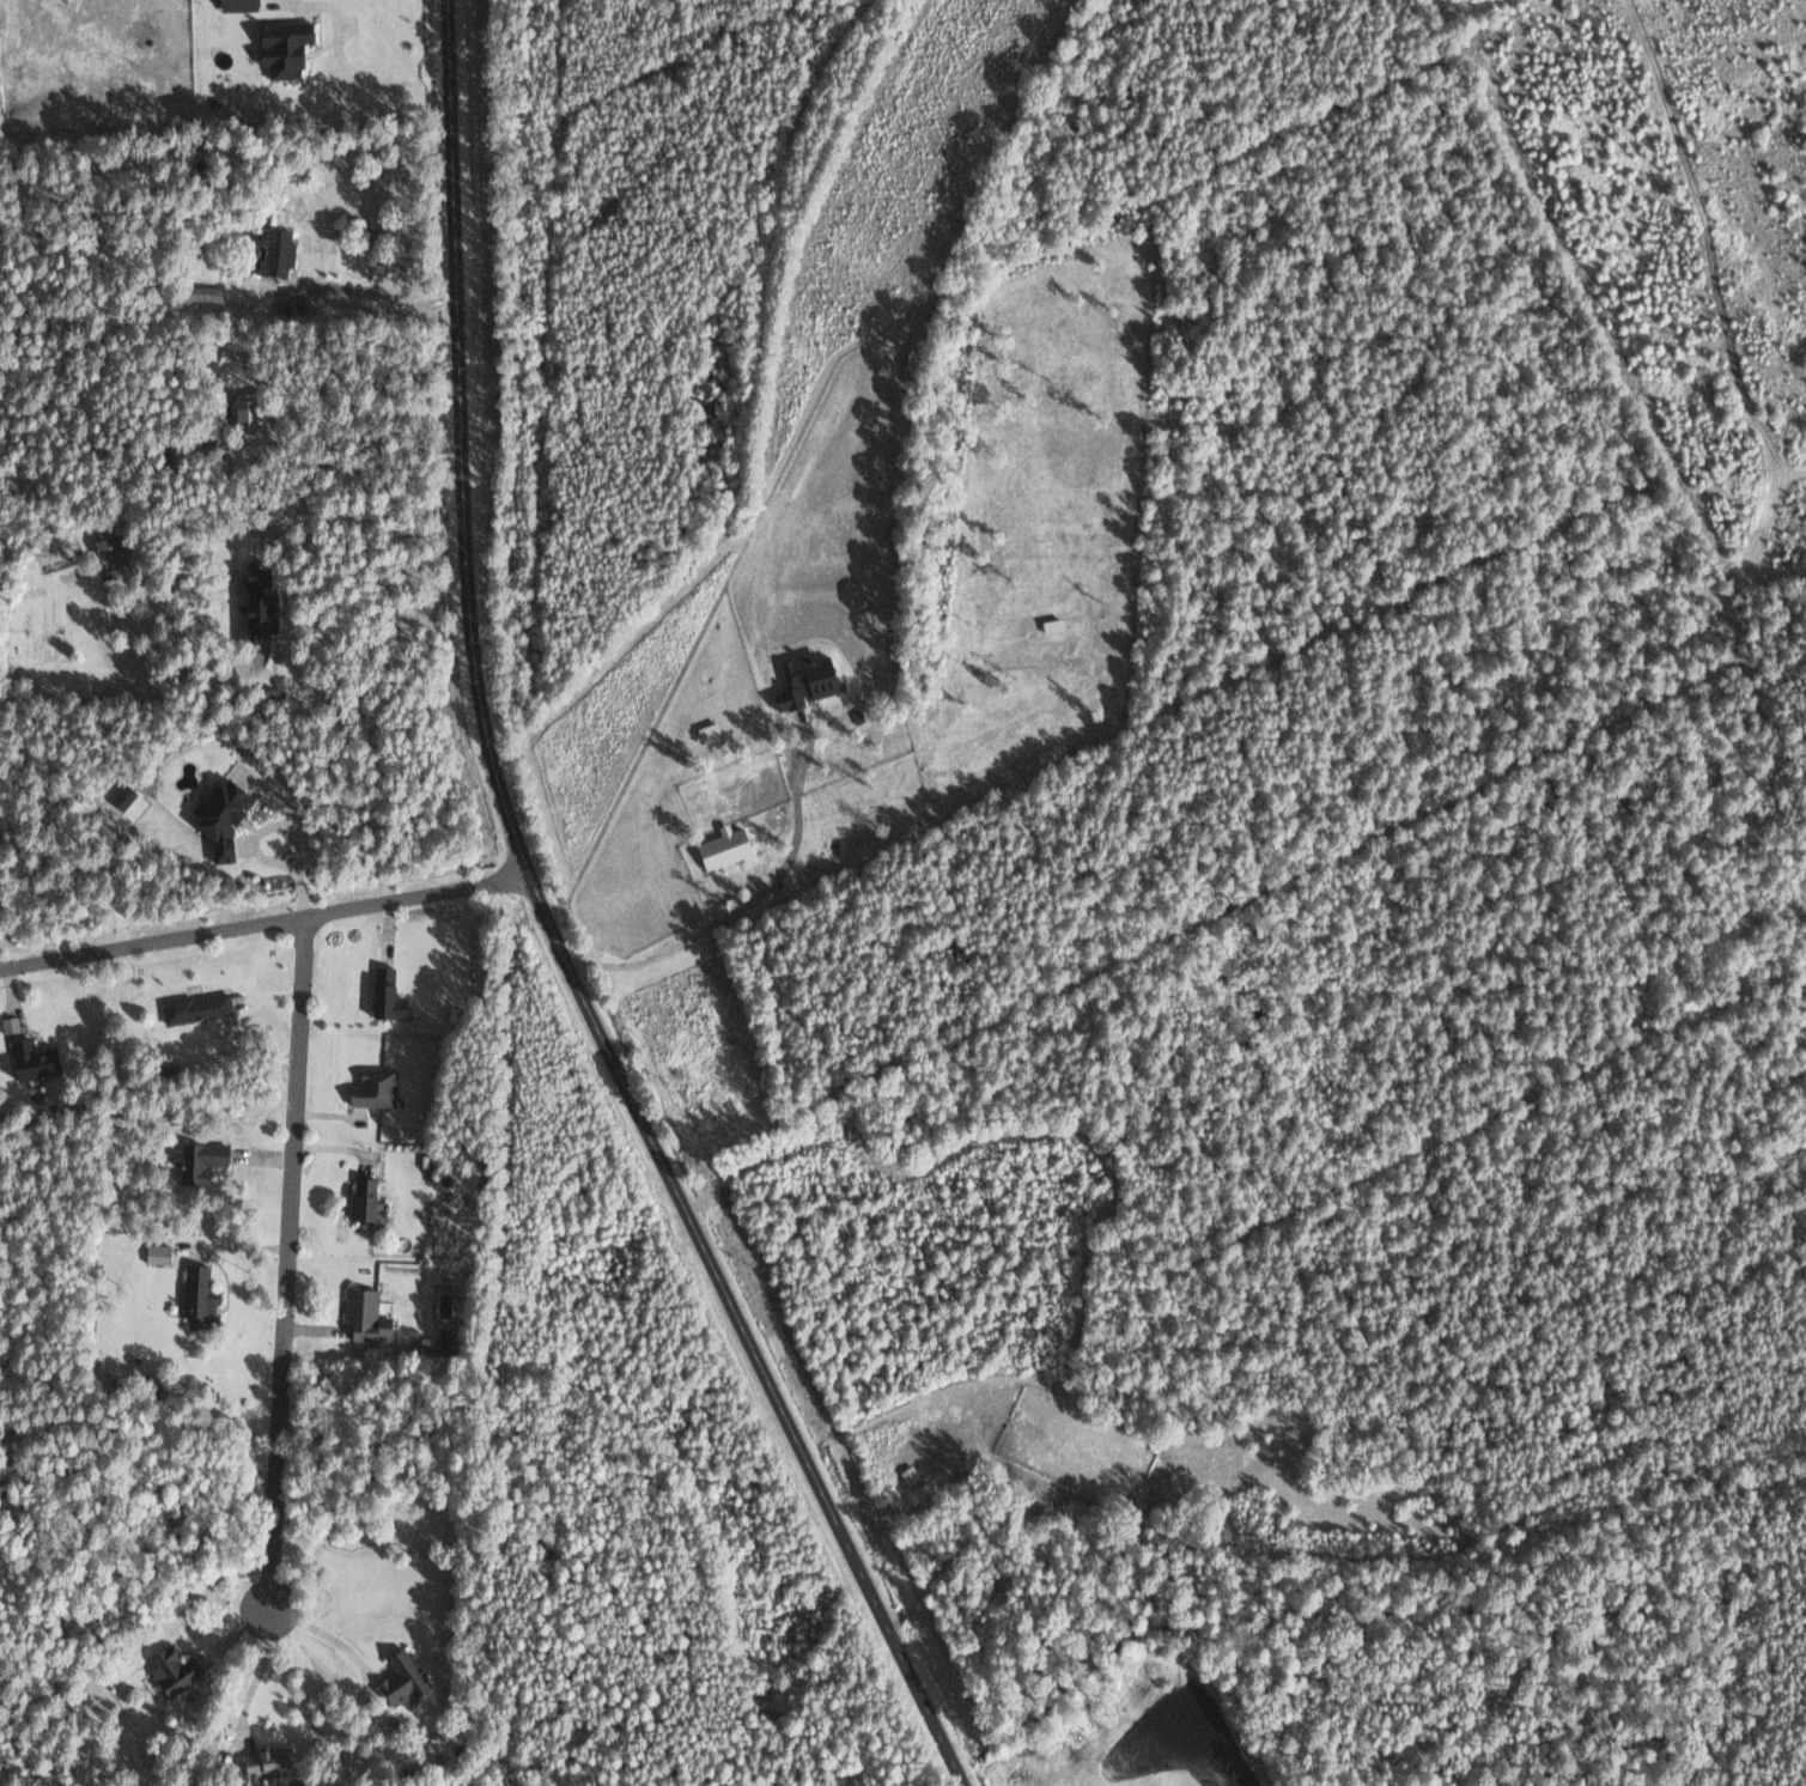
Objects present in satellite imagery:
building: (237, 5)
building: (282, 48)
road: (341, 55)
building: (275, 251)
road: (355, 288)
road: (365, 523)
building: (110, 547)
building: (255, 607)
building: (220, 816)
building: (723, 846)
road: (266, 921)
road: (557, 931)
building: (387, 996)
building: (196, 1008)
building: (31, 1062)
building: (375, 1088)
building: (200, 1161)
building: (364, 1199)
building: (157, 1253)
road: (287, 1262)
building: (199, 1298)
building: (363, 1316)
building: (450, 1339)
building: (910, 1475)
building: (172, 1670)
building: (402, 1681)
building: (266, 1763)

